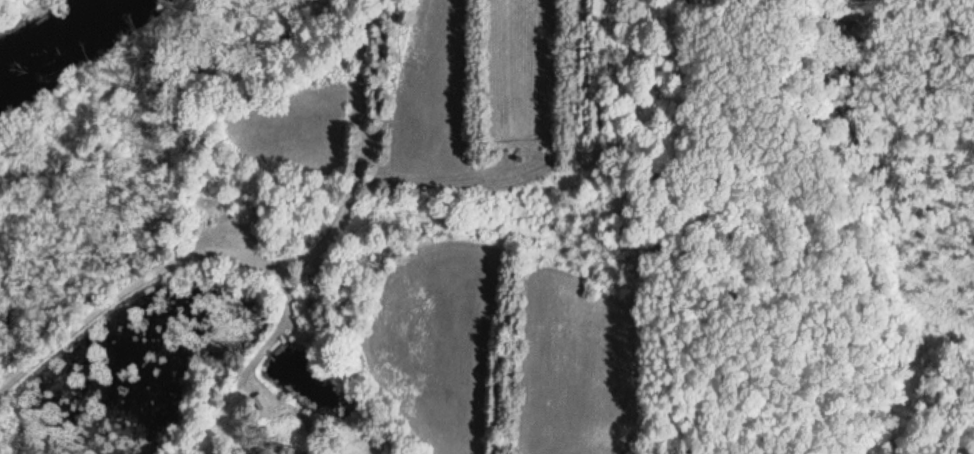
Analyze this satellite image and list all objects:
river: (55, 42)

